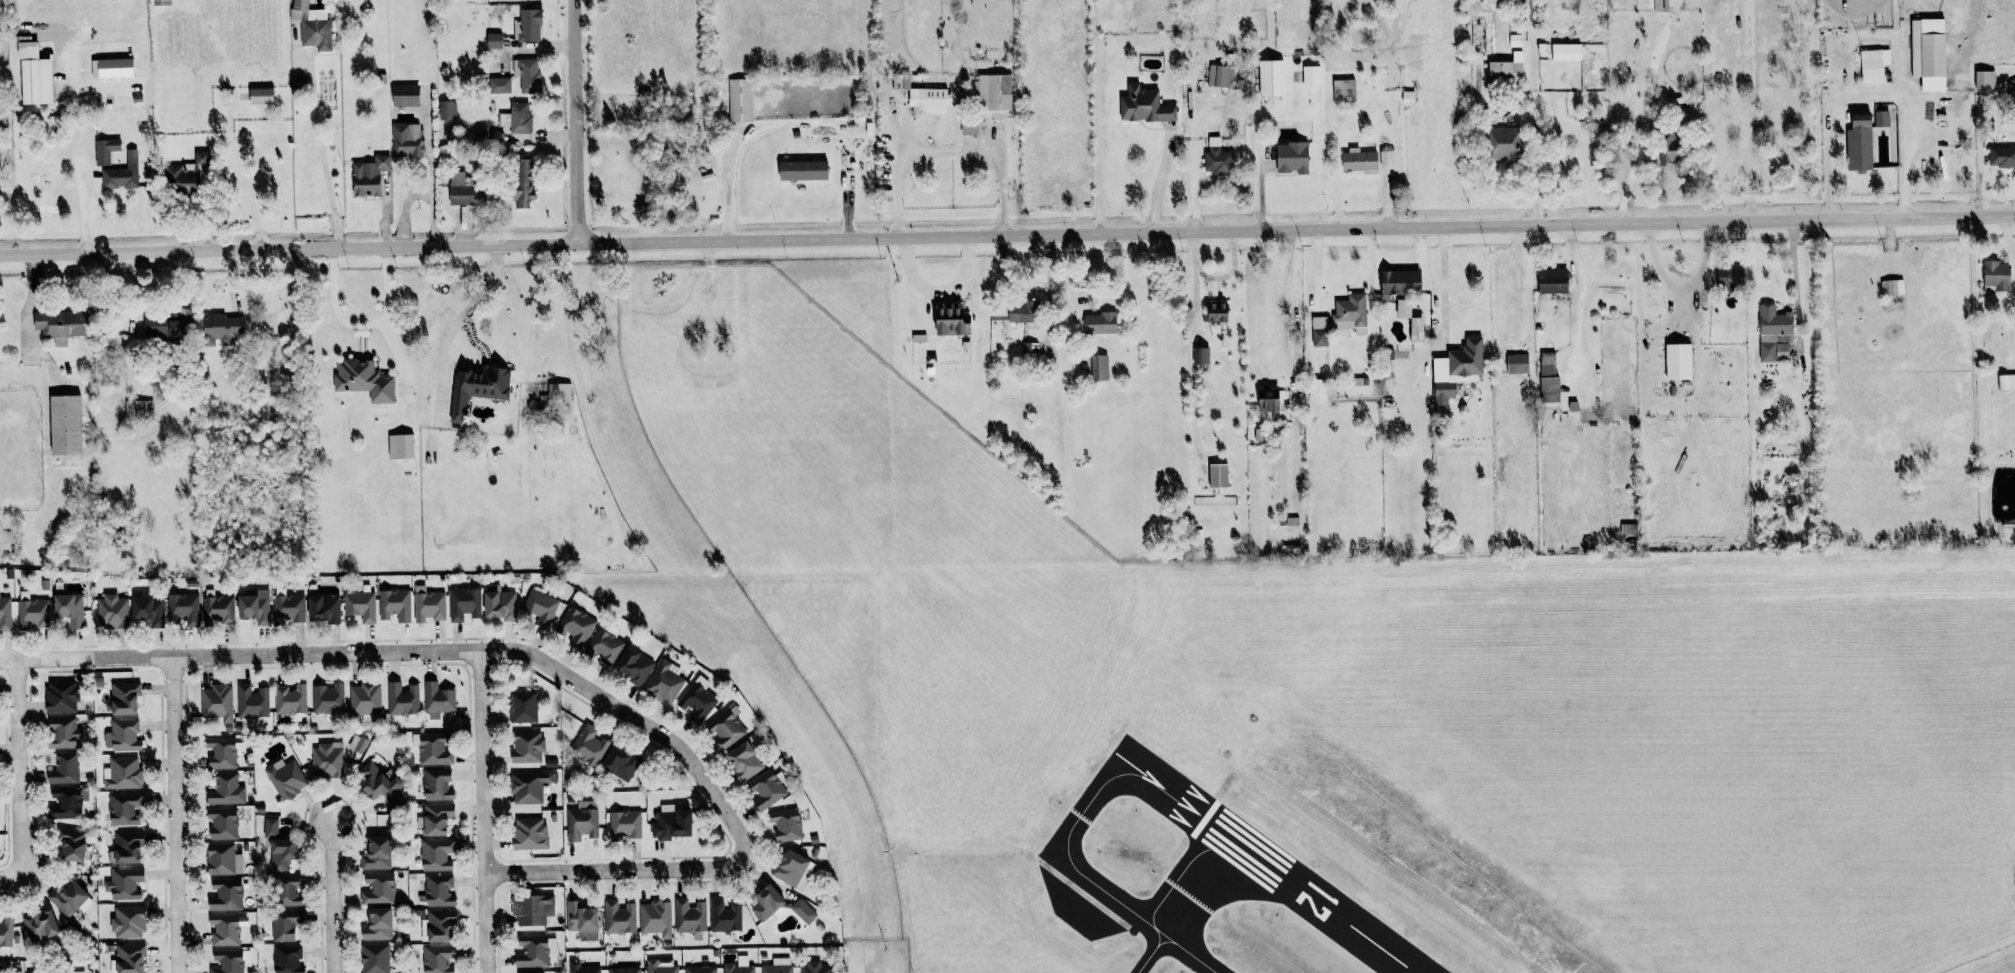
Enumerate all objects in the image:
building: (160, 2)
building: (1667, 5)
building: (312, 25)
building: (527, 25)
building: (493, 40)
building: (1515, 41)
building: (1566, 52)
building: (1928, 53)
building: (1874, 64)
building: (1507, 69)
building: (33, 75)
building: (527, 75)
building: (1220, 75)
building: (1311, 75)
building: (1271, 77)
building: (1985, 80)
building: (499, 85)
building: (1344, 89)
road: (1869, 93)
building: (404, 94)
building: (260, 95)
building: (993, 95)
building: (929, 99)
building: (740, 100)
building: (1144, 105)
building: (447, 109)
building: (1883, 116)
building: (517, 117)
road: (578, 122)
building: (969, 127)
road: (1643, 132)
building: (406, 140)
building: (496, 141)
building: (1501, 142)
building: (1859, 144)
road: (995, 146)
building: (1669, 147)
building: (104, 150)
road: (81, 151)
road: (322, 154)
building: (200, 157)
building: (1292, 157)
building: (2001, 157)
building: (1386, 159)
building: (1359, 160)
building: (802, 170)
building: (122, 173)
building: (368, 176)
road: (728, 176)
building: (179, 179)
building: (522, 182)
road: (1159, 183)
road: (429, 184)
road: (1535, 185)
building: (464, 190)
road: (896, 195)
road: (402, 211)
road: (1007, 236)
road: (1794, 275)
building: (1729, 276)
building: (1996, 276)
road: (1215, 278)
building: (1552, 281)
building: (1401, 282)
road: (1681, 286)
road: (1443, 287)
building: (1893, 287)
road: (1581, 292)
road: (1196, 299)
road: (1287, 306)
building: (1403, 308)
building: (1021, 311)
building: (1216, 313)
building: (1350, 313)
building: (950, 319)
building: (1099, 322)
building: (60, 325)
building: (165, 325)
road: (360, 326)
building: (220, 329)
building: (1320, 331)
building: (1774, 334)
road: (443, 346)
building: (1203, 356)
building: (1677, 362)
building: (1517, 363)
building: (1547, 363)
building: (1099, 367)
building: (1456, 370)
building: (363, 380)
building: (2006, 382)
building: (476, 388)
building: (1317, 389)
building: (1549, 389)
building: (557, 398)
building: (1266, 400)
building: (138, 408)
building: (64, 424)
building: (400, 446)
building: (1218, 475)
building: (463, 603)
building: (498, 603)
building: (428, 604)
building: (253, 605)
building: (360, 605)
building: (394, 605)
building: (540, 607)
building: (182, 608)
building: (217, 608)
building: (287, 608)
building: (322, 608)
building: (68, 609)
building: (147, 610)
building: (111, 612)
building: (5, 613)
building: (575, 628)
building: (603, 646)
road: (544, 662)
building: (633, 666)
building: (663, 682)
building: (61, 696)
building: (123, 698)
building: (290, 699)
building: (328, 699)
building: (365, 699)
building: (403, 699)
building: (438, 700)
building: (697, 700)
building: (217, 702)
building: (252, 703)
building: (522, 706)
airport: (1336, 709)
building: (725, 728)
building: (62, 733)
building: (122, 735)
building: (588, 745)
building: (527, 747)
building: (432, 750)
building: (220, 752)
building: (327, 760)
building: (743, 761)
building: (619, 763)
road: (19, 768)
building: (63, 769)
building: (122, 773)
building: (285, 778)
building: (379, 784)
building: (436, 784)
building: (528, 786)
building: (226, 790)
building: (765, 790)
building: (65, 803)
airport runway: (1221, 803)
building: (122, 810)
road: (483, 811)
road: (176, 815)
building: (436, 818)
building: (582, 820)
building: (222, 823)
building: (669, 823)
building: (625, 824)
building: (786, 824)
building: (270, 826)
building: (529, 833)
building: (69, 844)
building: (125, 848)
airport taxiway: (1069, 851)
building: (280, 854)
building: (376, 854)
building: (435, 854)
building: (219, 859)
airport taxiway: (1212, 867)
building: (791, 869)
road: (8, 879)
building: (124, 884)
building: (378, 889)
building: (286, 890)
building: (439, 890)
road: (331, 893)
airport runway: (1308, 894)
building: (225, 895)
building: (67, 899)
building: (766, 902)
airport apron: (1078, 906)
building: (532, 909)
building: (803, 911)
building: (725, 915)
building: (689, 916)
building: (618, 918)
building: (655, 920)
building: (581, 921)
building: (127, 922)
building: (285, 924)
building: (377, 925)
building: (439, 925)
building: (39, 926)
building: (226, 929)
airport taxiway: (1154, 934)
building: (5, 936)
airport taxiway: (1172, 947)
building: (534, 951)
airport taxiway: (1151, 954)
building: (129, 958)
building: (374, 958)
building: (287, 959)
building: (438, 959)
road: (855, 960)
building: (226, 961)
building: (738, 966)
building: (778, 966)
building: (659, 967)
building: (581, 968)
building: (700, 968)
building: (815, 968)
building: (624, 970)
building: (31, 972)
building: (78, 972)

